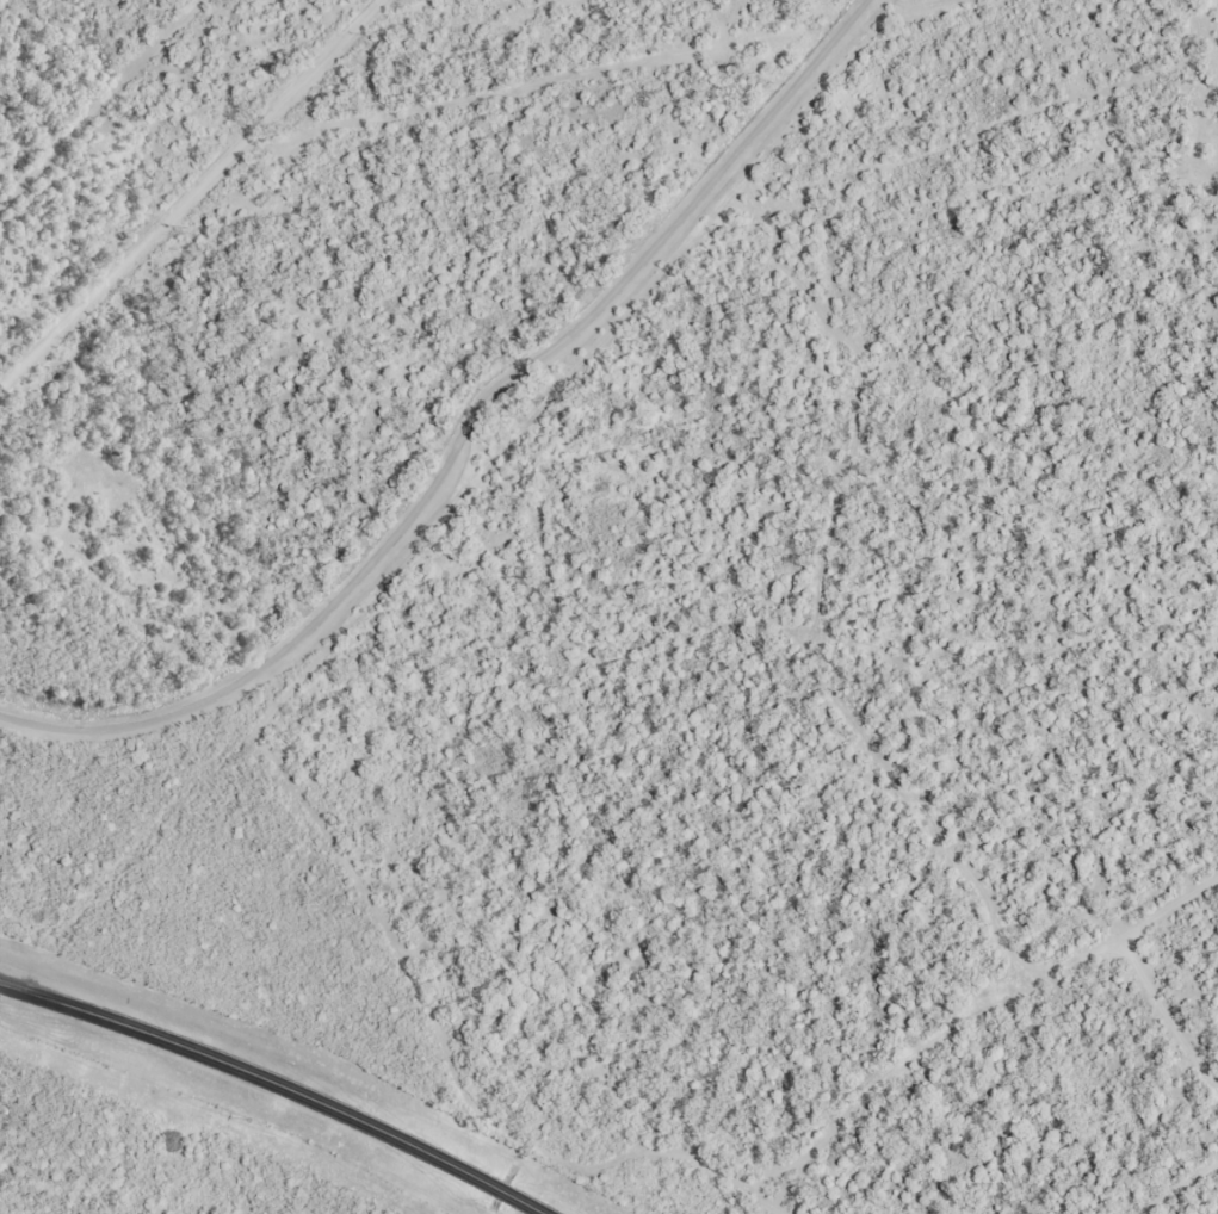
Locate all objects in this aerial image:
road: (209, 215)
road: (276, 1085)

